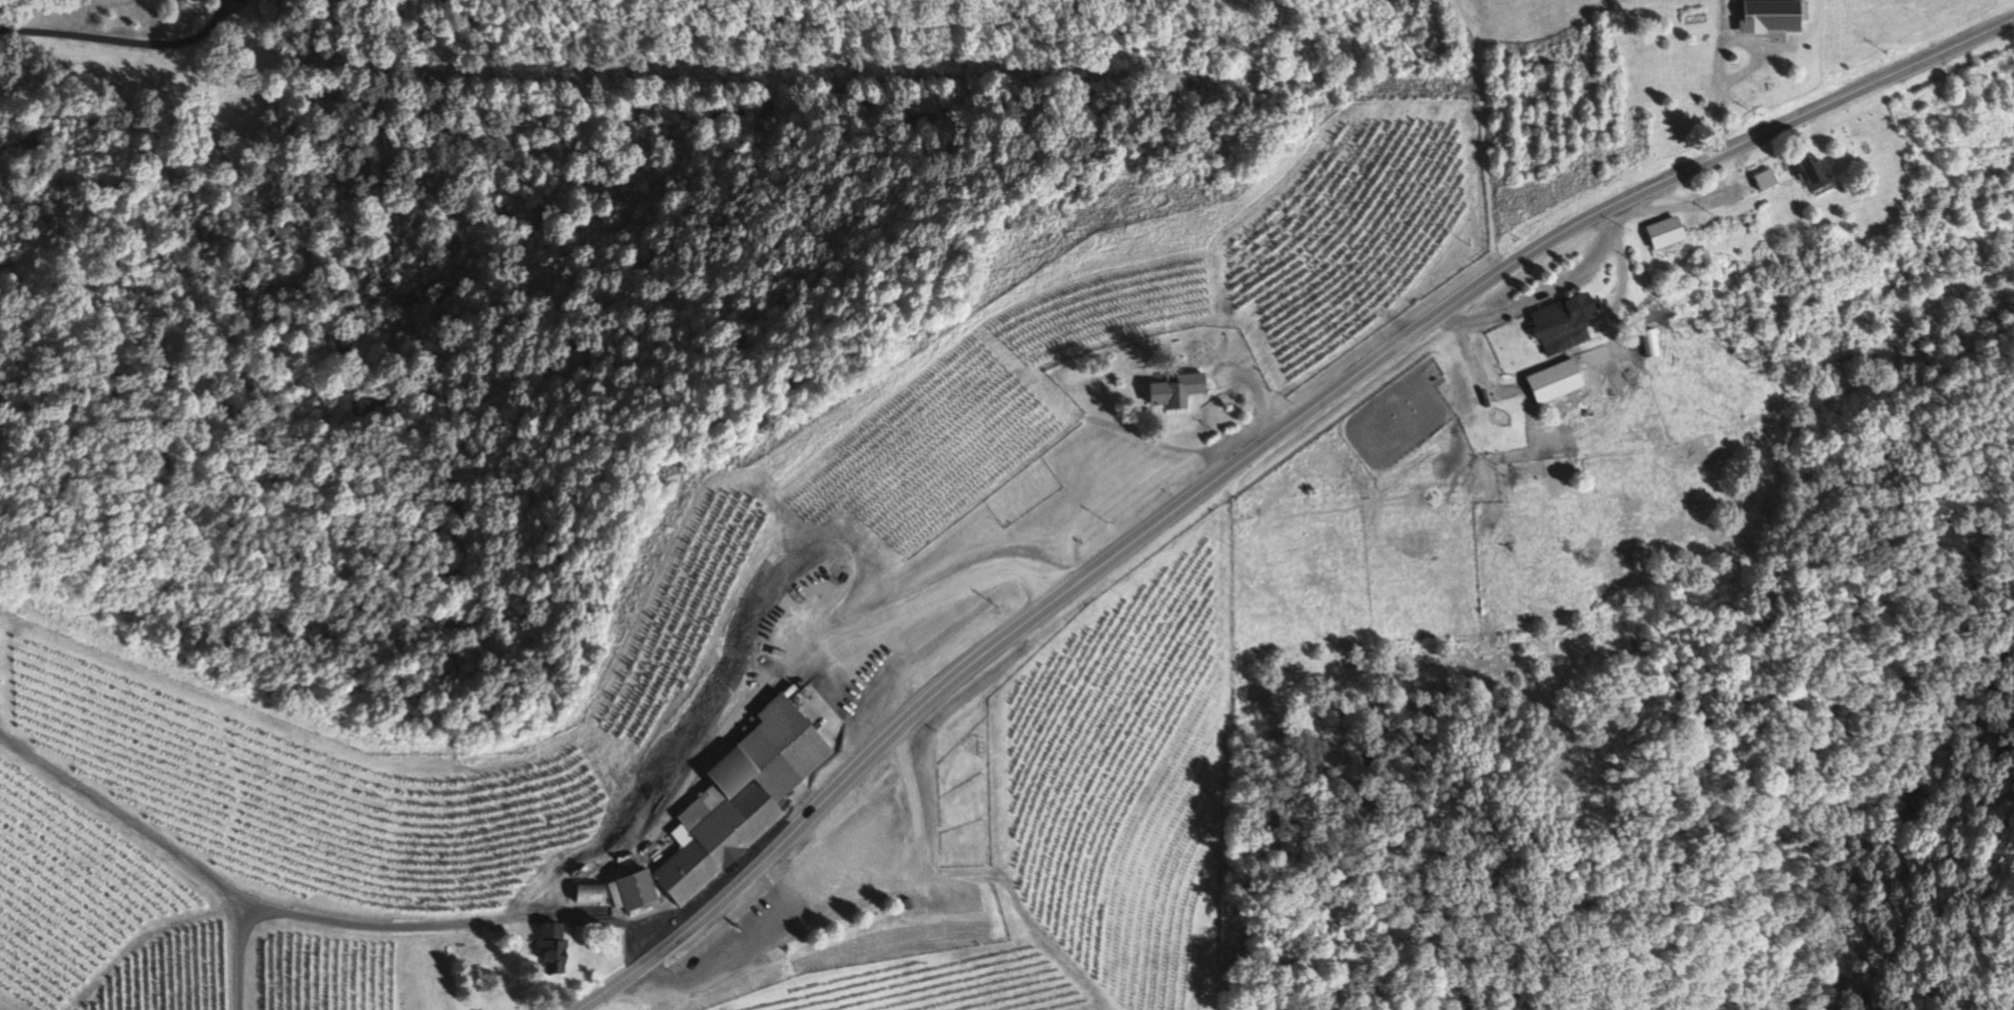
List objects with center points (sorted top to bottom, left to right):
building: (1770, 16)
road: (89, 36)
building: (1680, 77)
building: (1812, 173)
building: (1763, 181)
building: (1664, 234)
building: (1561, 324)
building: (1552, 382)
building: (1174, 391)
road: (1260, 455)
building: (730, 806)
building: (629, 891)
building: (587, 894)
road: (502, 915)
building: (550, 947)
road: (244, 960)

